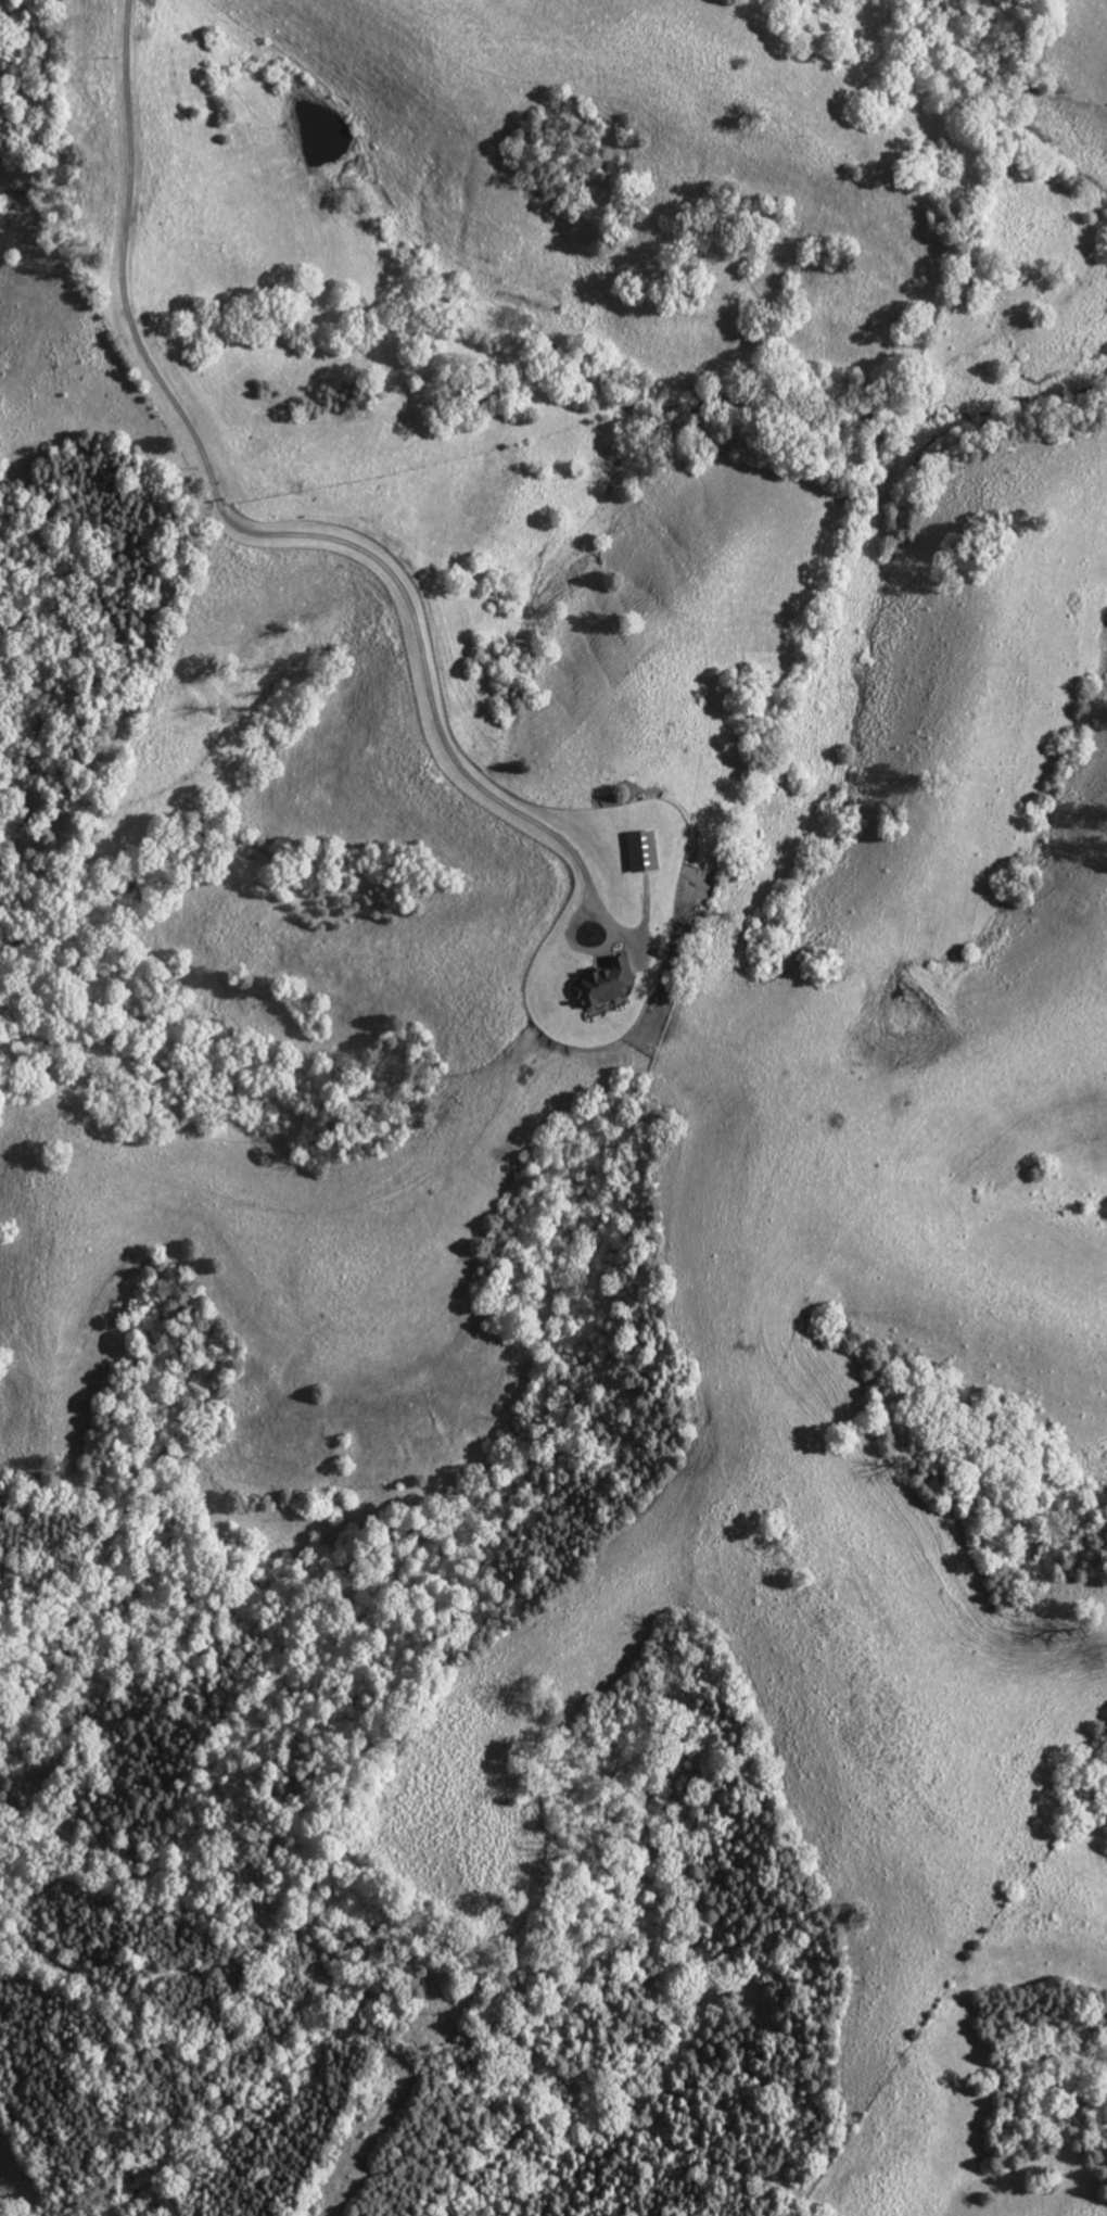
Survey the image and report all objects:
road: (254, 534)
building: (638, 854)
building: (602, 986)

